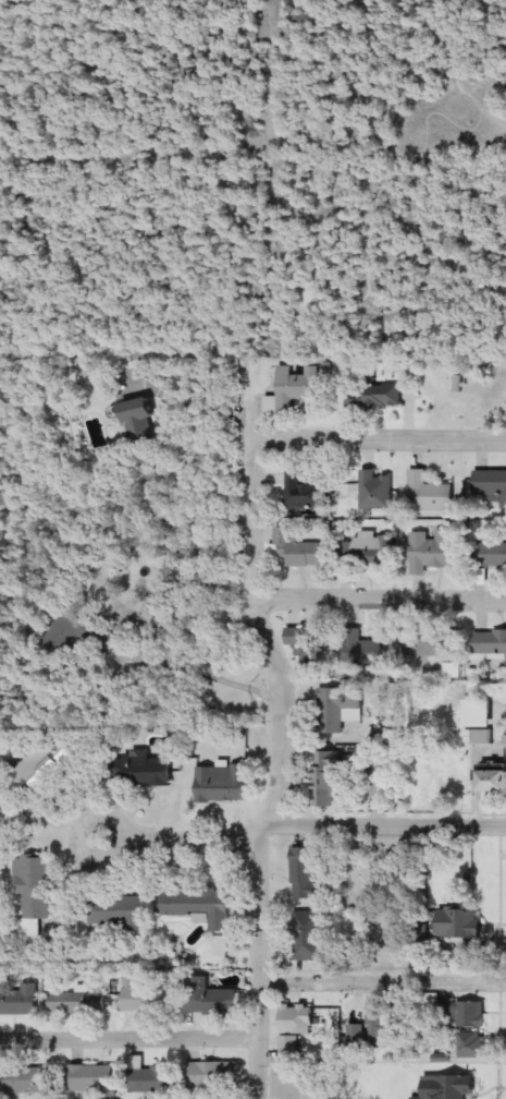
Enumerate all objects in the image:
road: (490, 116)
building: (297, 387)
building: (140, 421)
road: (381, 432)
building: (491, 485)
building: (304, 492)
building: (429, 493)
building: (301, 551)
building: (432, 551)
building: (370, 553)
building: (493, 554)
road: (267, 590)
road: (386, 593)
building: (71, 632)
building: (490, 643)
building: (306, 645)
building: (430, 647)
building: (365, 651)
road: (153, 662)
building: (338, 712)
building: (479, 714)
building: (42, 765)
building: (144, 771)
building: (329, 780)
building: (494, 782)
building: (223, 784)
road: (386, 825)
road: (168, 833)
building: (304, 874)
building: (34, 889)
building: (200, 906)
building: (116, 911)
building: (460, 925)
building: (309, 935)
road: (258, 961)
road: (382, 983)
building: (18, 998)
building: (148, 999)
building: (214, 1001)
building: (78, 1002)
building: (465, 1013)
building: (296, 1027)
road: (127, 1031)
building: (369, 1035)
building: (470, 1044)
building: (213, 1075)
building: (92, 1078)
building: (152, 1079)
building: (27, 1080)
building: (449, 1087)

